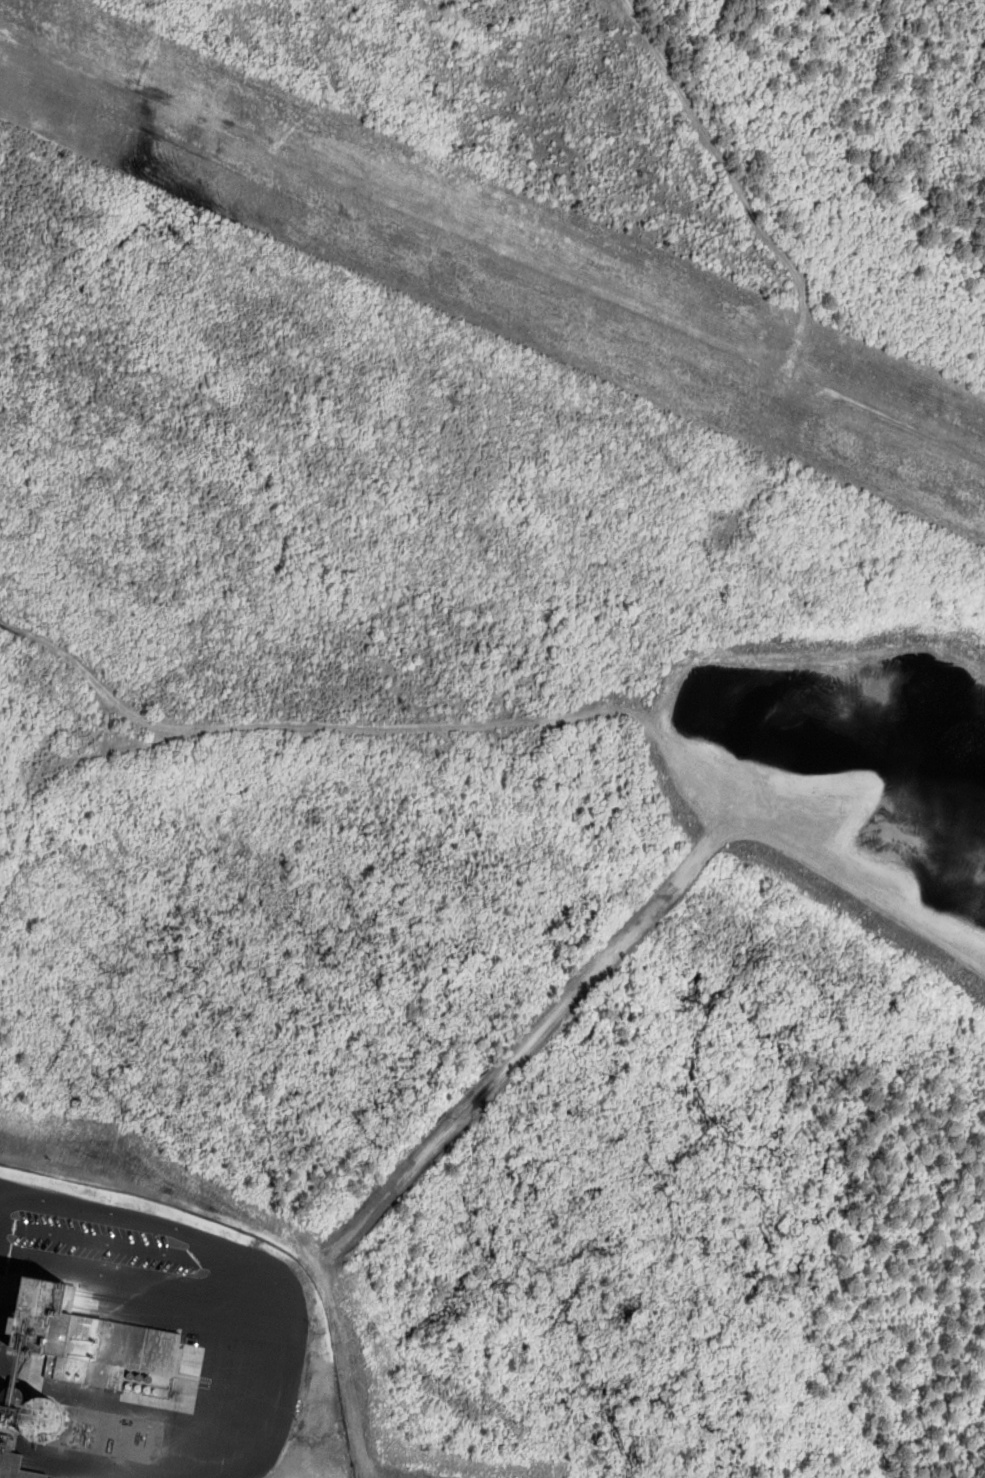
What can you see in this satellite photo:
road: (126, 1221)
road: (101, 1243)
parking lot: (104, 1243)
road: (110, 1273)
road: (247, 1418)

